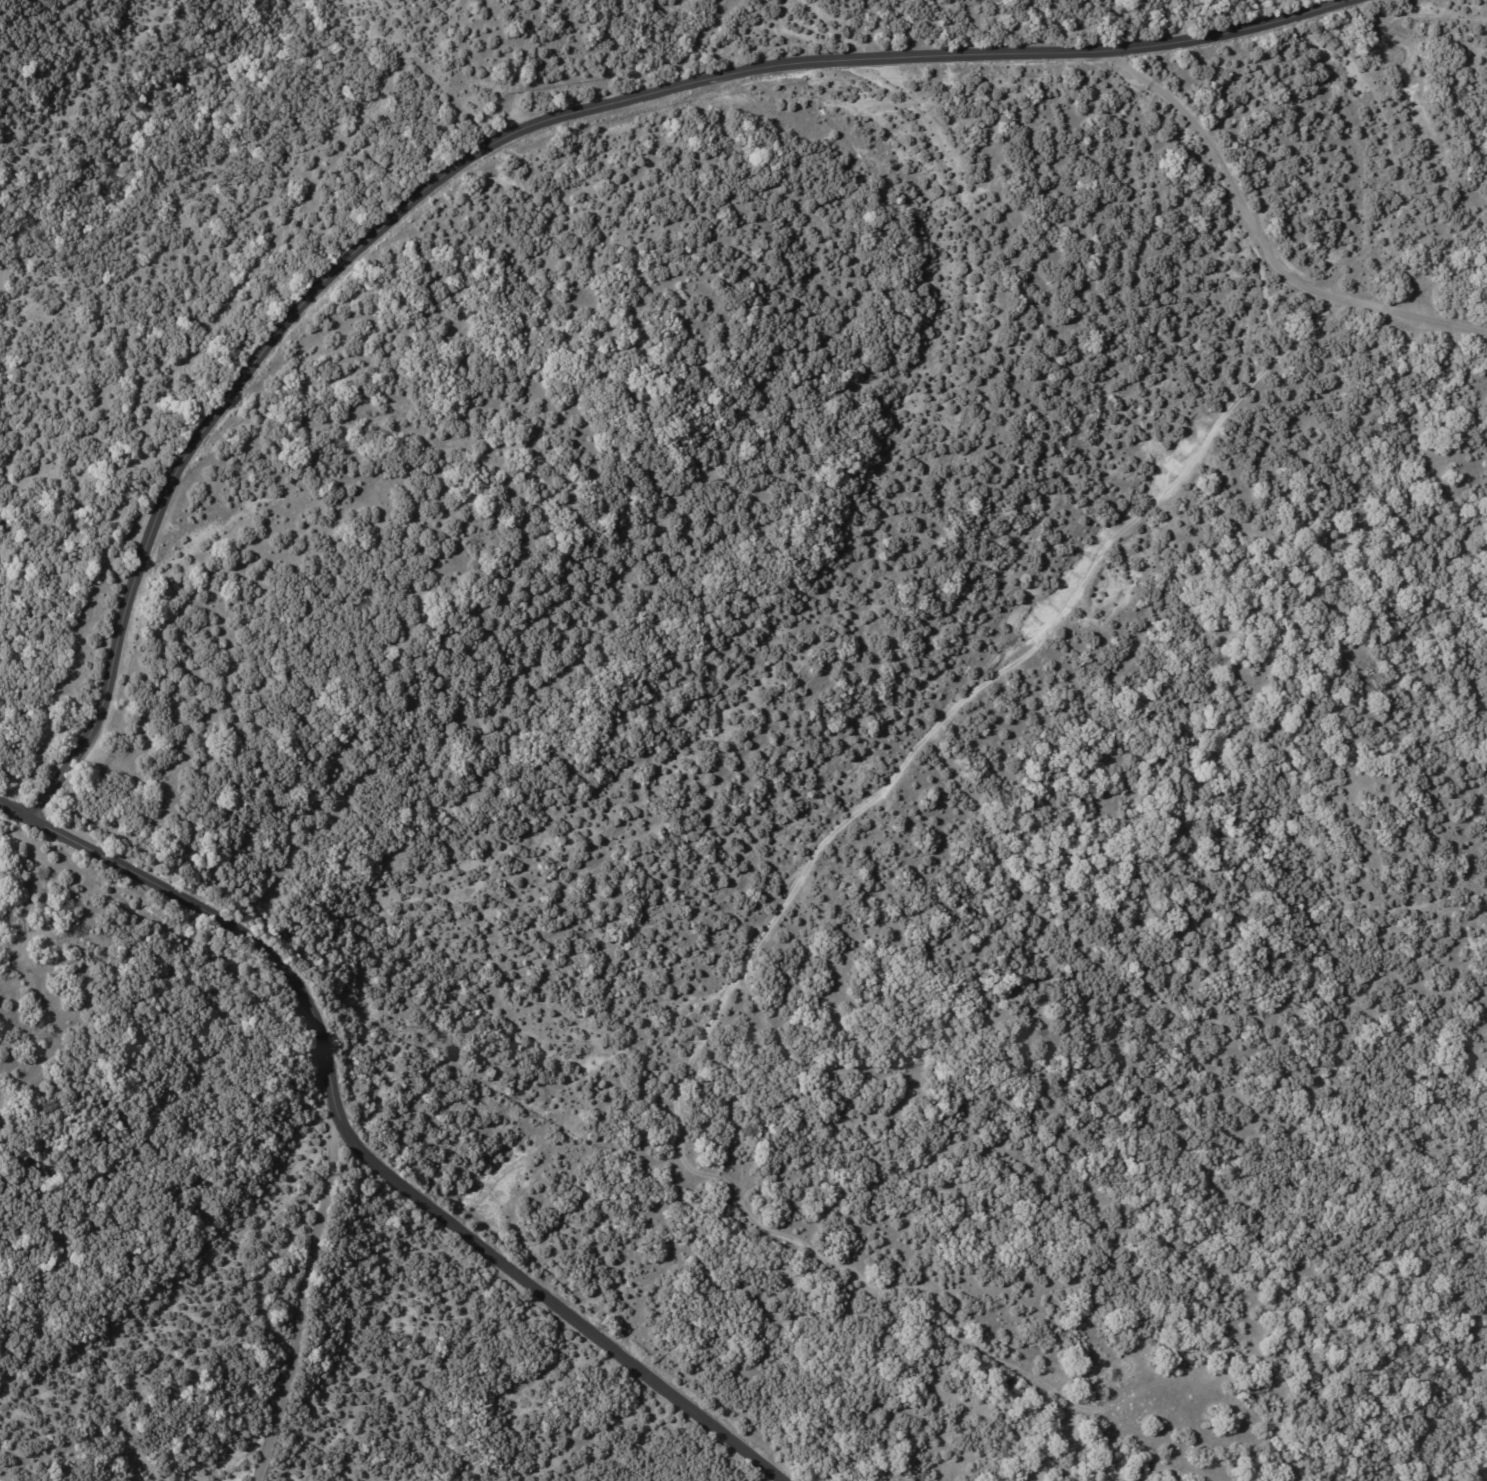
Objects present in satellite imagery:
road: (506, 136)
road: (1260, 238)
road: (358, 1148)
road: (301, 1305)

